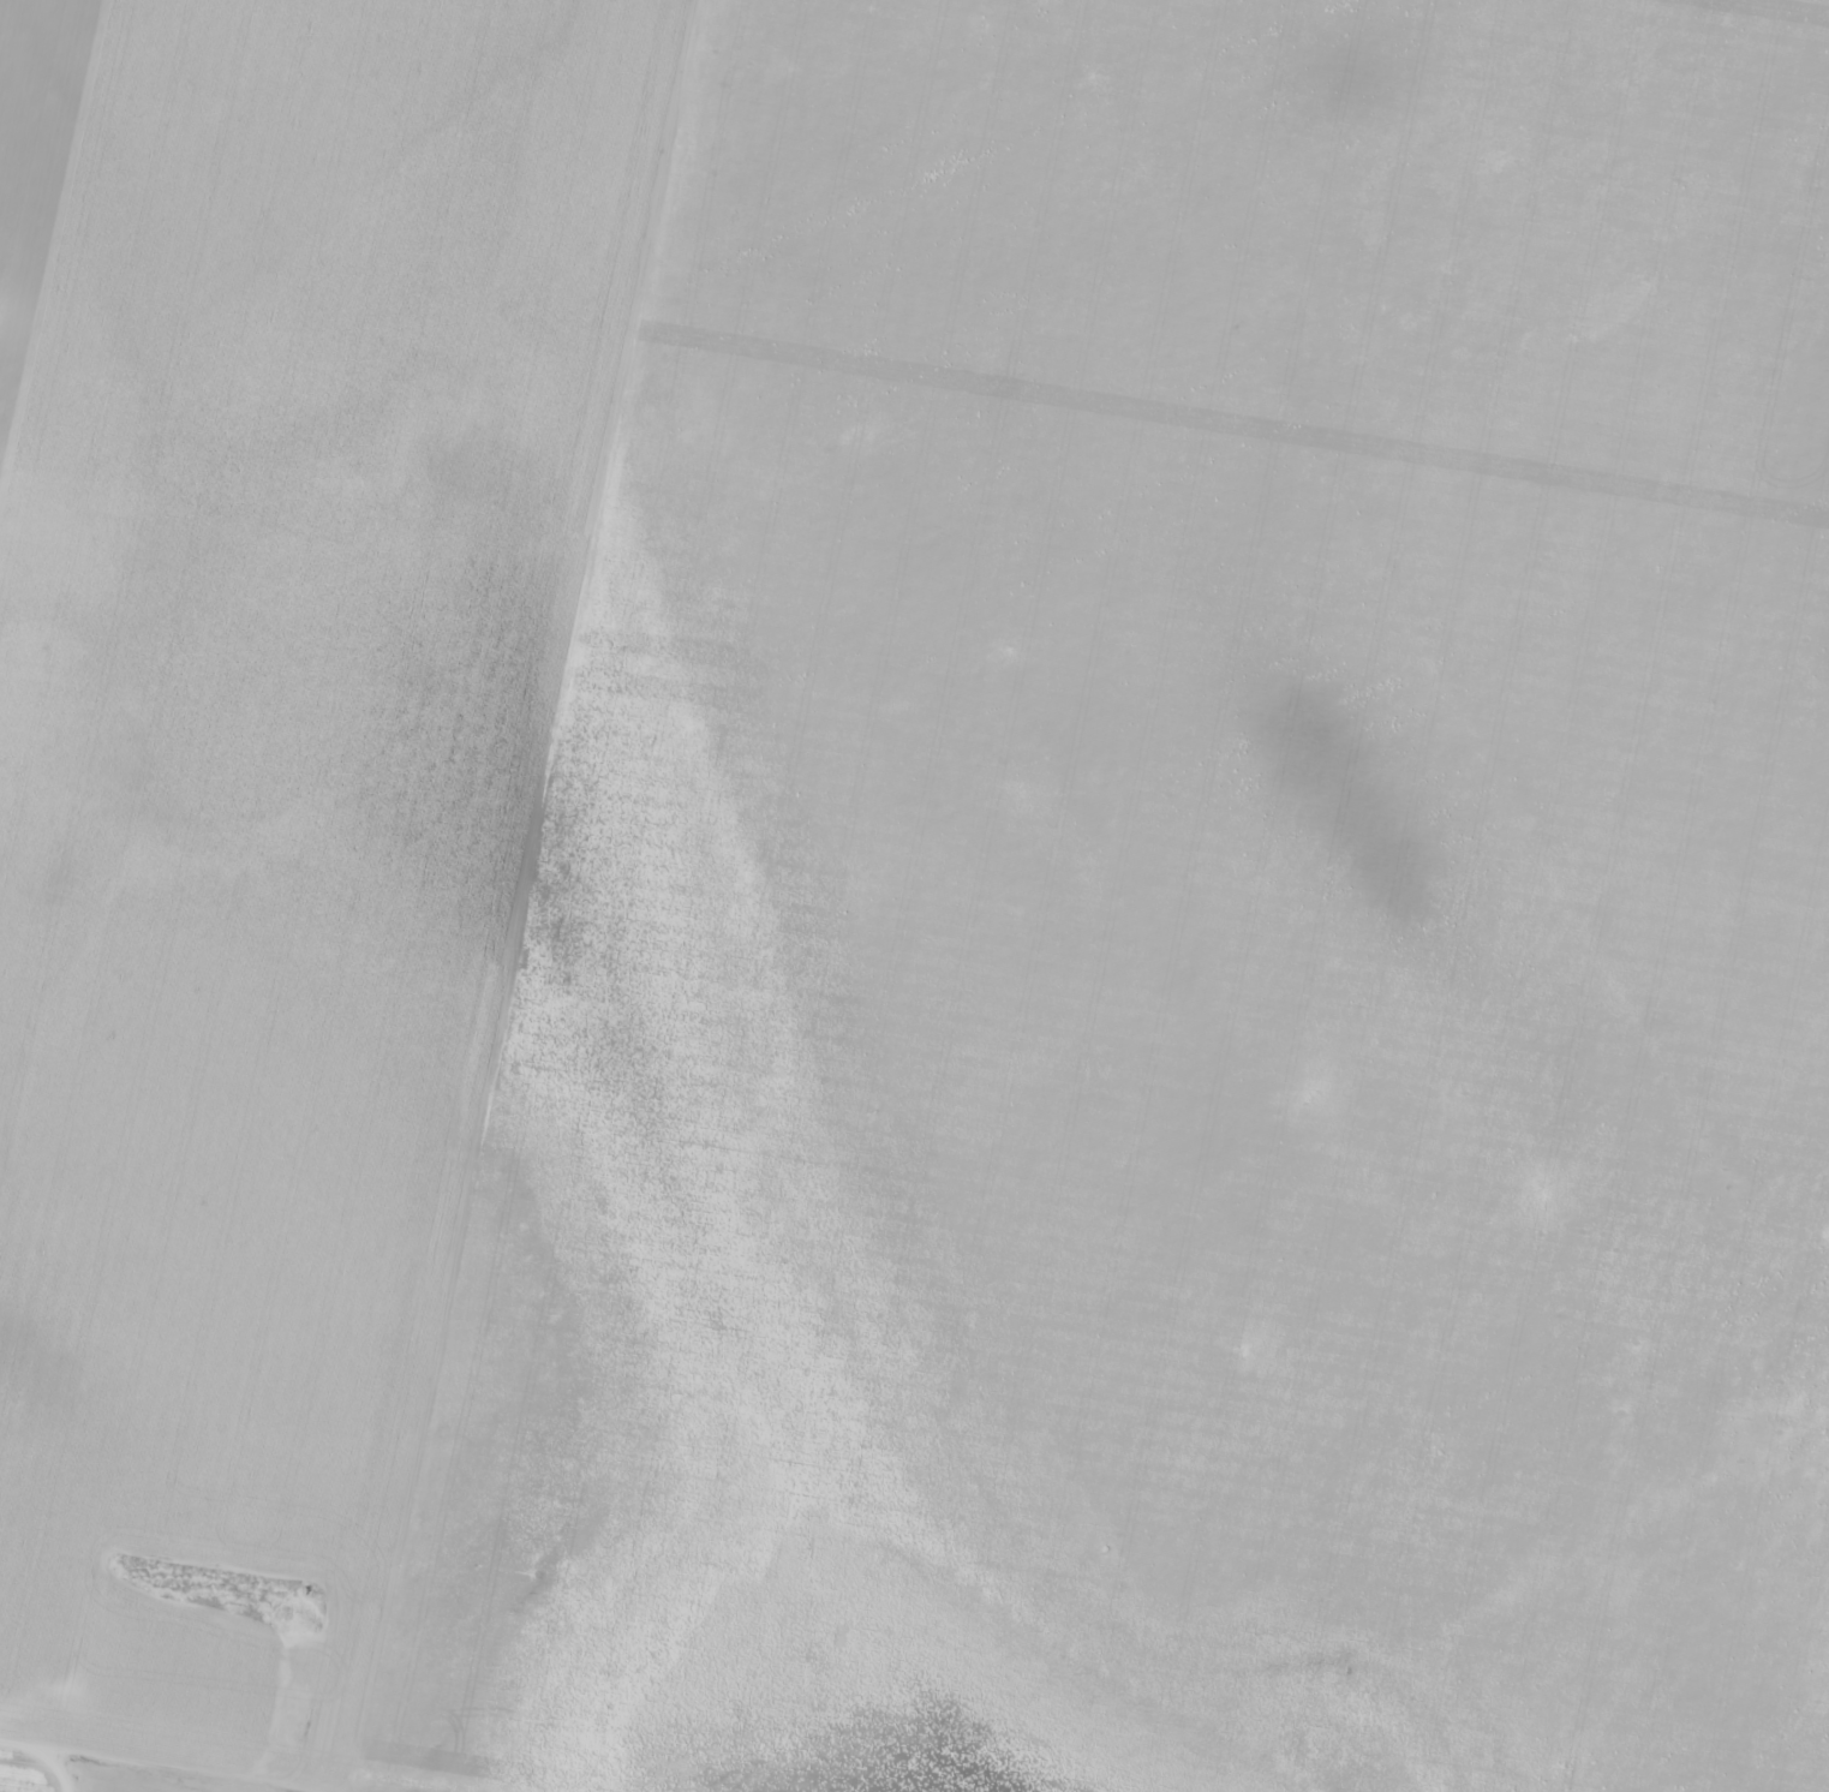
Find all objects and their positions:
road: (849, 1504)

